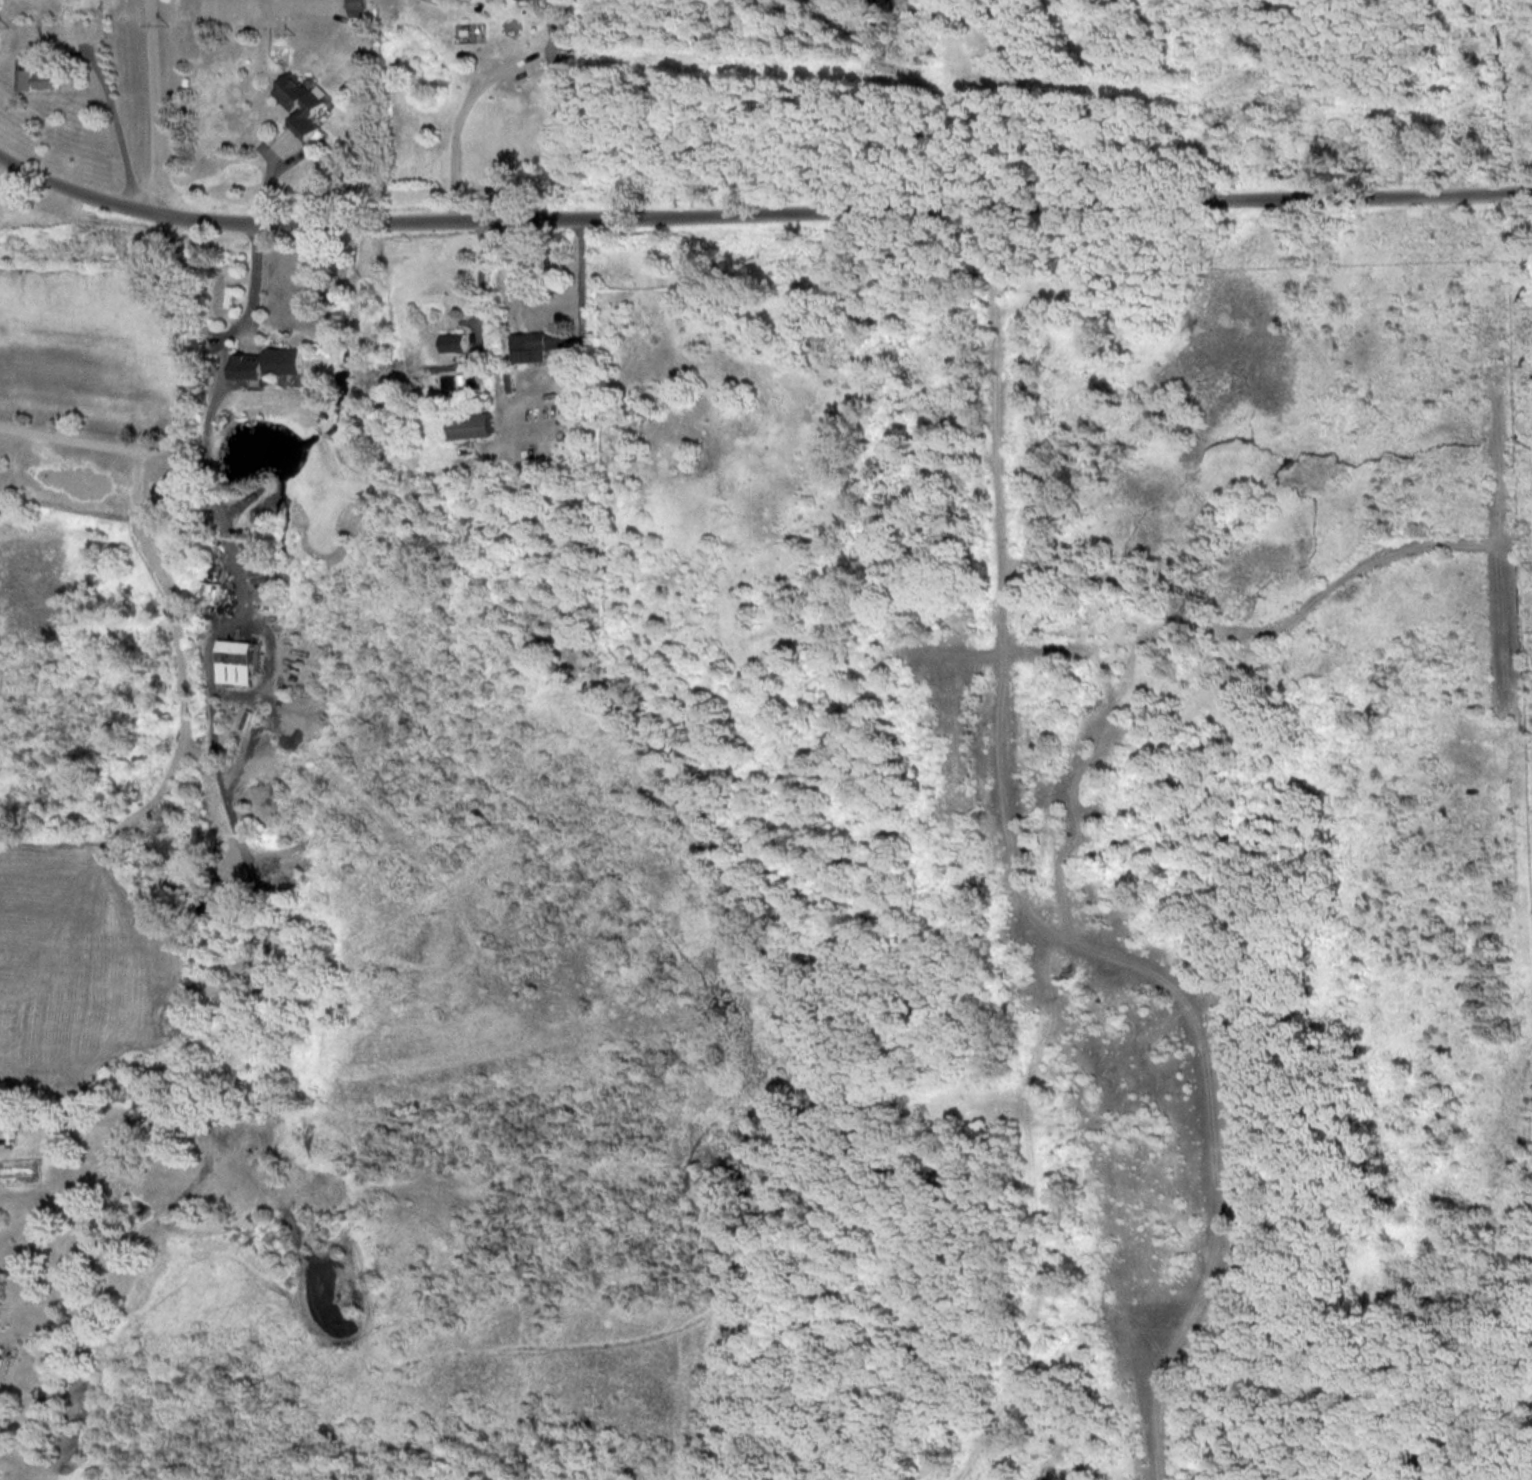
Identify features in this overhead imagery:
building: (0, 3)
building: (359, 7)
building: (43, 78)
road: (477, 91)
road: (150, 104)
building: (302, 104)
road: (123, 133)
road: (760, 212)
road: (583, 270)
road: (483, 284)
building: (456, 342)
building: (540, 344)
building: (272, 362)
road: (184, 413)
building: (477, 425)
road: (226, 529)
building: (213, 587)
building: (238, 651)
road: (1024, 895)
road: (204, 1171)

